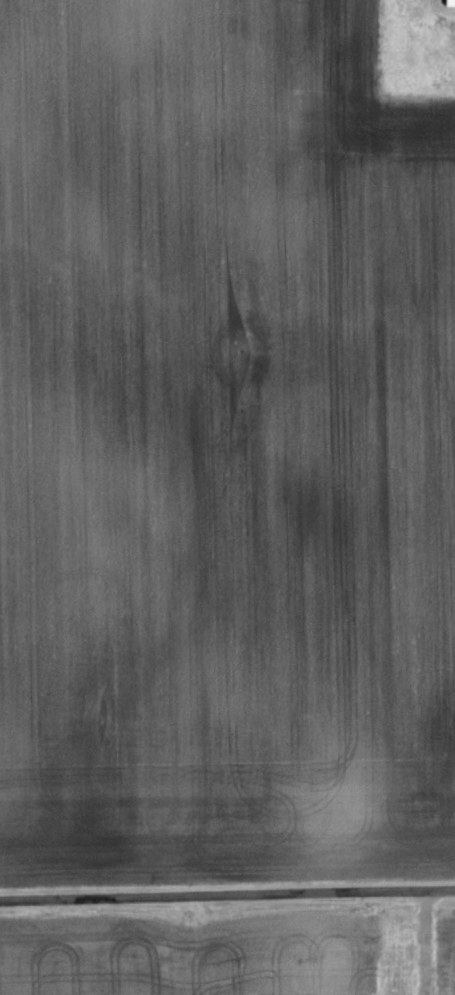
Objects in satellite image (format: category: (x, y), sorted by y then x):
crop: (223, 447)
road: (227, 901)
crop: (446, 953)
crop: (190, 956)

